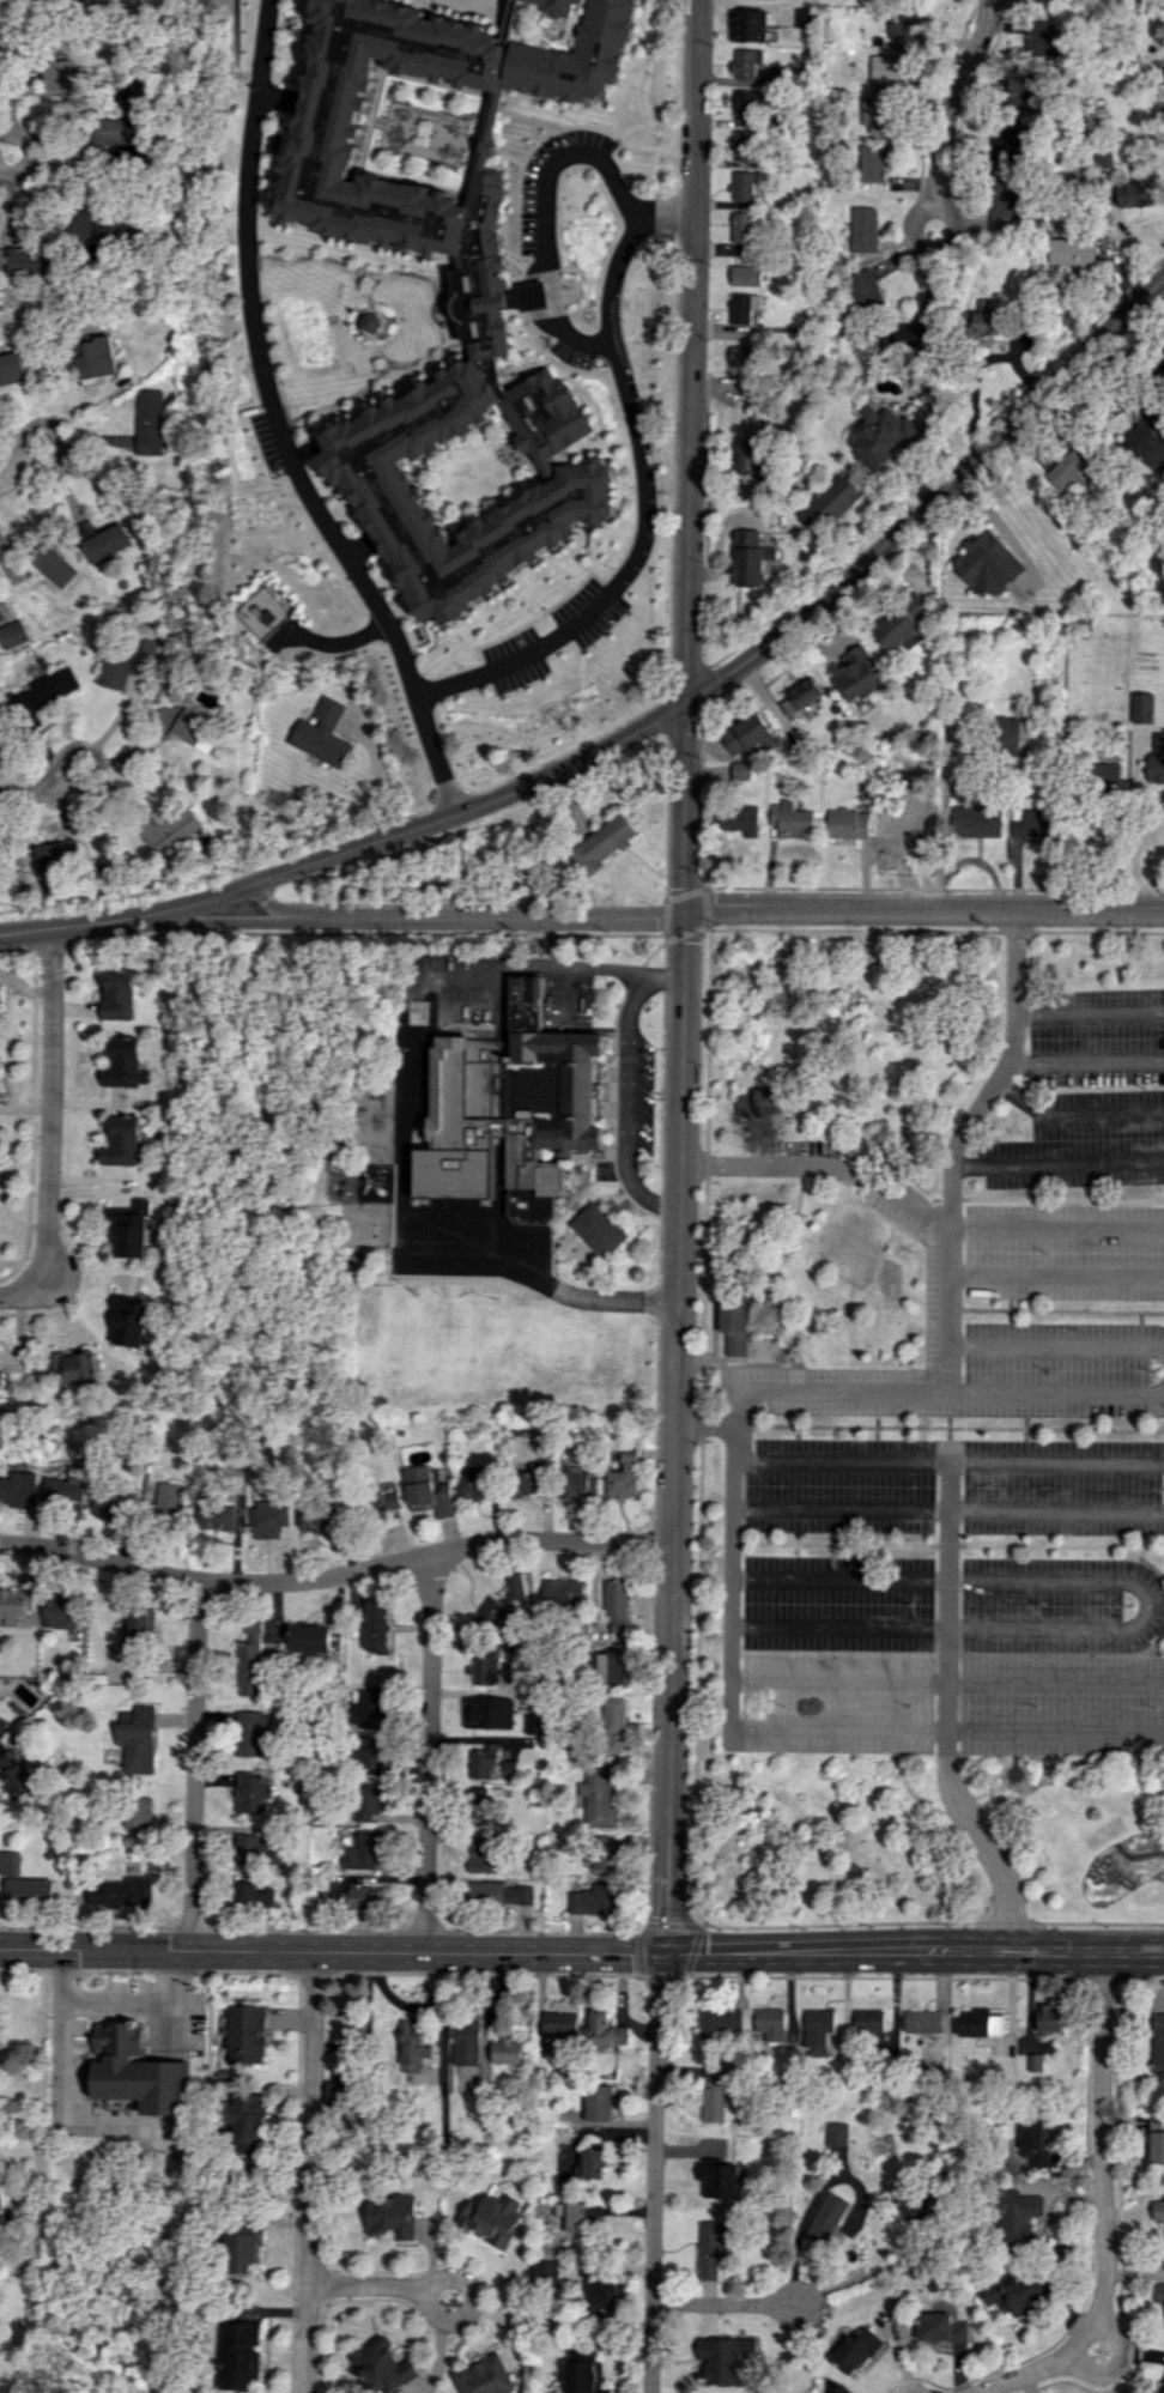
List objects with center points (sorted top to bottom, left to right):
building: (1050, 1)
building: (558, 7)
building: (805, 17)
building: (748, 25)
building: (907, 29)
building: (1043, 38)
building: (745, 62)
building: (886, 67)
building: (57, 75)
building: (547, 86)
building: (1025, 90)
road: (953, 96)
building: (748, 104)
building: (874, 113)
building: (119, 126)
building: (327, 135)
building: (1008, 140)
building: (744, 145)
road: (26, 151)
building: (1104, 157)
building: (871, 163)
building: (742, 186)
building: (1135, 193)
building: (1002, 199)
road: (546, 213)
building: (744, 226)
building: (862, 229)
road: (929, 248)
building: (1072, 250)
building: (30, 260)
building: (744, 260)
building: (745, 275)
building: (863, 286)
building: (487, 296)
building: (742, 307)
building: (987, 316)
building: (909, 331)
building: (742, 355)
building: (96, 358)
building: (11, 368)
building: (544, 417)
building: (150, 419)
road: (279, 424)
road: (53, 429)
building: (881, 436)
building: (1147, 437)
parking lot: (267, 441)
building: (753, 455)
building: (1069, 467)
road: (10, 474)
road: (647, 491)
building: (568, 492)
building: (830, 503)
building: (105, 544)
building: (750, 558)
building: (987, 563)
parking lot: (587, 608)
building: (904, 624)
building: (12, 634)
parking lot: (516, 658)
building: (125, 662)
building: (856, 674)
building: (43, 690)
building: (801, 695)
building: (1142, 707)
road: (647, 723)
building: (190, 727)
building: (321, 733)
building: (748, 734)
building: (953, 735)
building: (1011, 735)
road: (98, 756)
building: (1156, 759)
road: (381, 770)
building: (740, 770)
building: (1105, 777)
road: (29, 795)
building: (738, 819)
building: (792, 819)
road: (941, 819)
building: (976, 820)
building: (848, 823)
building: (1035, 823)
road: (1135, 823)
building: (904, 826)
building: (168, 828)
building: (602, 842)
building: (59, 854)
road: (277, 905)
road: (661, 917)
road: (683, 975)
building: (0, 990)
building: (119, 993)
parking lot: (568, 1005)
parking lot: (449, 1008)
road: (1089, 1010)
parking lot: (1096, 1038)
building: (125, 1061)
road: (1086, 1061)
road: (626, 1090)
parking lot: (644, 1093)
building: (758, 1102)
building: (511, 1110)
road: (1074, 1115)
road: (48, 1122)
road: (406, 1126)
building: (123, 1140)
parking lot: (1077, 1140)
road: (956, 1141)
road: (1057, 1162)
road: (823, 1165)
building: (132, 1226)
road: (1056, 1228)
building: (598, 1229)
road: (1056, 1277)
road: (68, 1284)
parking lot: (1065, 1289)
building: (134, 1317)
building: (734, 1322)
road: (1056, 1344)
park: (496, 1352)
building: (74, 1365)
parking lot: (1067, 1373)
building: (1, 1376)
road: (948, 1392)
road: (704, 1425)
road: (948, 1461)
building: (623, 1477)
building: (527, 1482)
building: (474, 1484)
building: (577, 1484)
parking lot: (954, 1486)
building: (19, 1489)
building: (65, 1489)
building: (428, 1490)
building: (382, 1497)
building: (168, 1500)
building: (111, 1503)
road: (947, 1508)
building: (219, 1513)
building: (271, 1517)
building: (316, 1517)
road: (730, 1557)
road: (335, 1573)
building: (563, 1593)
building: (16, 1605)
road: (1148, 1605)
building: (499, 1606)
building: (616, 1606)
building: (59, 1612)
building: (140, 1620)
building: (376, 1625)
building: (309, 1637)
parking lot: (952, 1655)
building: (255, 1665)
building: (611, 1666)
building: (485, 1668)
road: (946, 1680)
building: (368, 1708)
building: (487, 1712)
road: (946, 1713)
building: (1, 1723)
building: (533, 1723)
building: (613, 1725)
road: (946, 1727)
building: (250, 1731)
building: (138, 1739)
road: (432, 1752)
building: (369, 1755)
building: (490, 1763)
road: (196, 1765)
building: (17, 1775)
building: (250, 1792)
building: (598, 1795)
building: (487, 1797)
building: (369, 1805)
building: (138, 1816)
building: (255, 1849)
building: (364, 1850)
building: (602, 1854)
building: (484, 1856)
building: (24, 1883)
building: (121, 1891)
building: (501, 1892)
building: (251, 1895)
building: (356, 1897)
building: (592, 1900)
road: (915, 1950)
road: (333, 1952)
road: (116, 2003)
building: (1050, 2019)
building: (719, 2021)
building: (869, 2021)
building: (923, 2021)
building: (560, 2023)
building: (770, 2023)
building: (977, 2023)
building: (818, 2028)
building: (605, 2030)
building: (247, 2034)
building: (412, 2042)
building: (466, 2042)
building: (1158, 2042)
building: (507, 2050)
building: (1033, 2062)
building: (135, 2070)
building: (338, 2091)
building: (713, 2092)
building: (598, 2102)
road: (40, 2108)
building: (248, 2122)
building: (835, 2133)
building: (1157, 2137)
building: (1033, 2138)
building: (835, 2150)
building: (590, 2164)
road: (660, 2171)
road: (310, 2173)
building: (721, 2179)
road: (1104, 2204)
building: (915, 2205)
building: (1158, 2210)
building: (570, 2215)
building: (389, 2216)
building: (1017, 2217)
building: (492, 2218)
building: (826, 2219)
road: (799, 2240)
building: (710, 2249)
building: (241, 2250)
park: (119, 2267)
building: (546, 2271)
road: (872, 2272)
road: (438, 2279)
building: (604, 2291)
building: (1016, 2292)
building: (1159, 2292)
road: (734, 2300)
building: (941, 2328)
building: (856, 2349)
building: (241, 2355)
building: (723, 2358)
road: (1115, 2364)
building: (382, 2367)
building: (583, 2373)
building: (485, 2376)
building: (1163, 2392)

